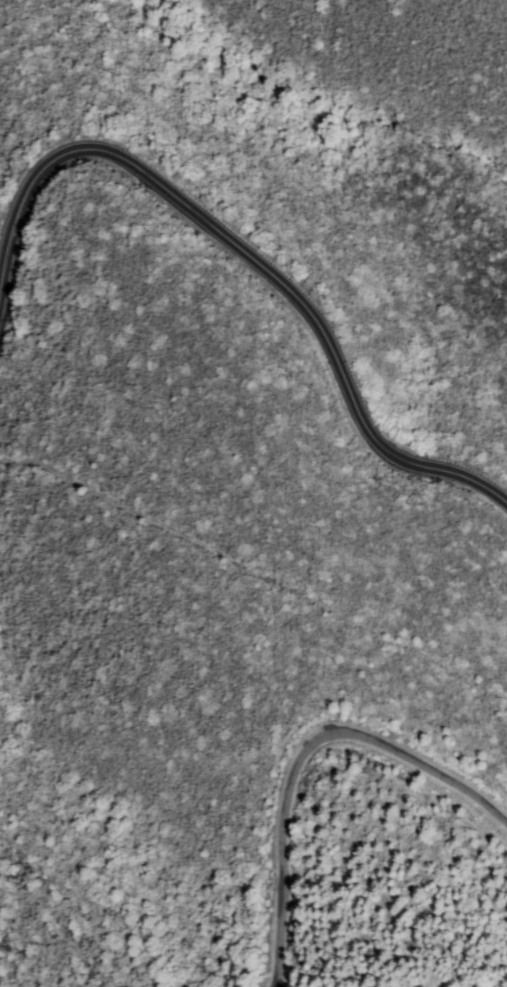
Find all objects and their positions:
road: (254, 257)
road: (312, 764)

